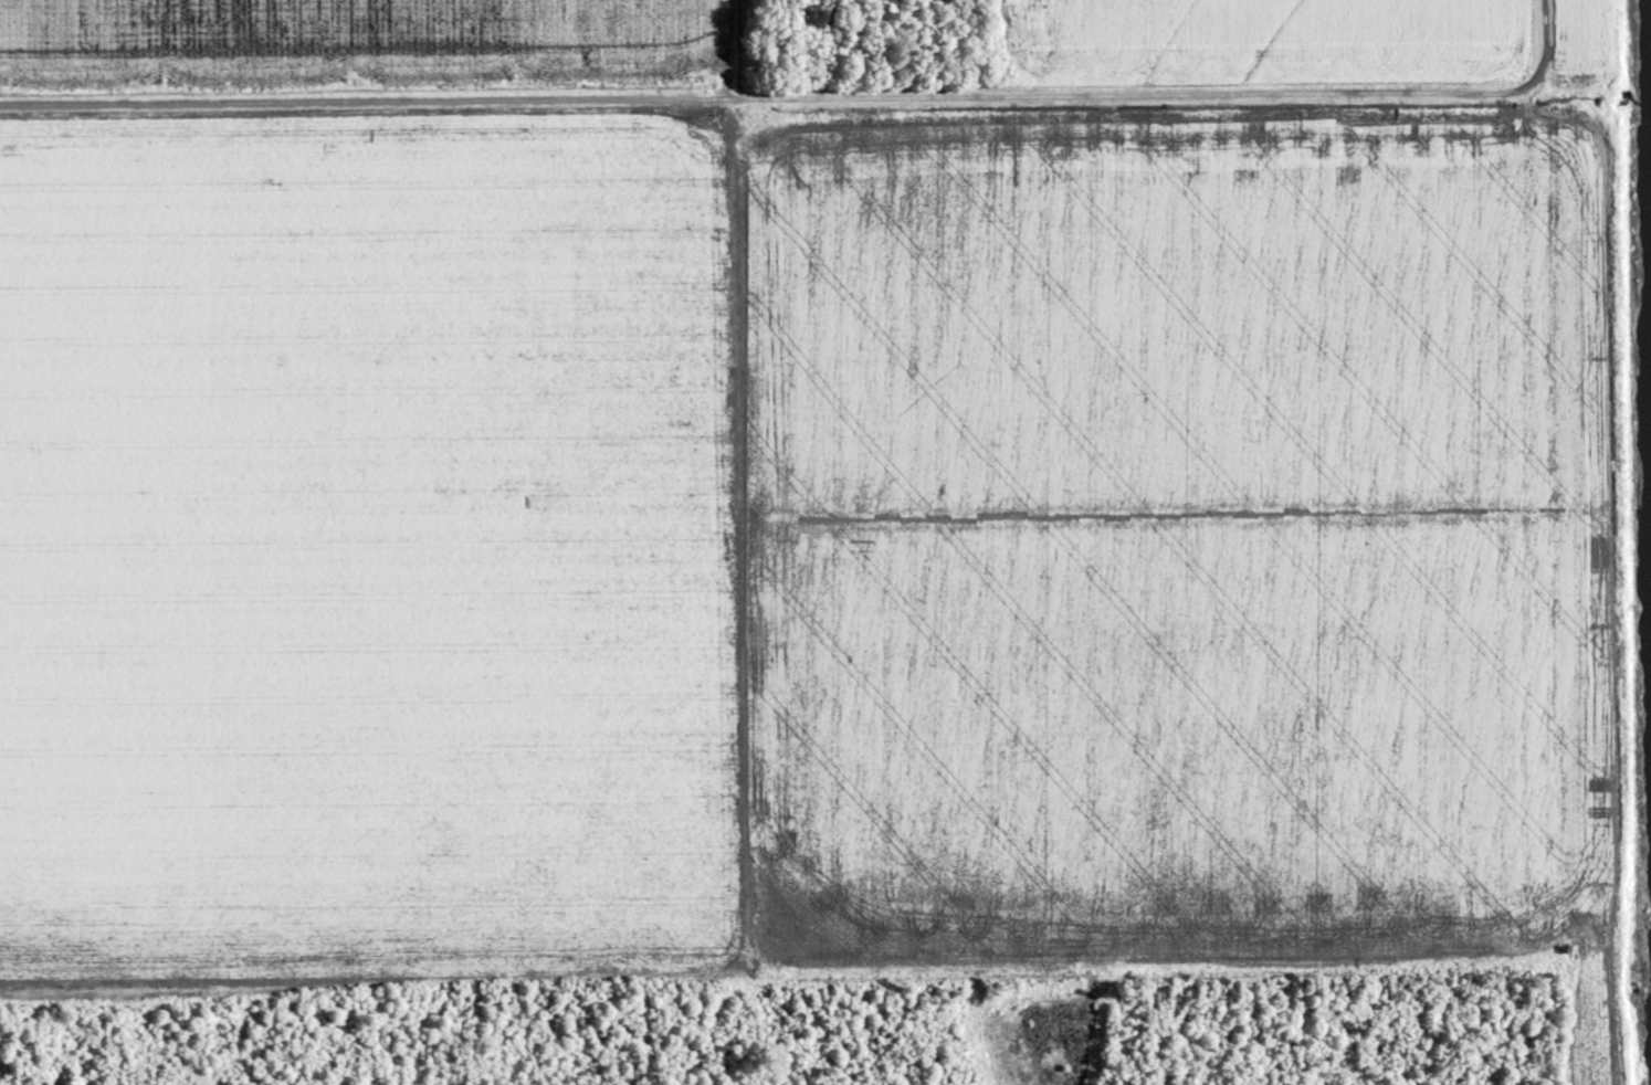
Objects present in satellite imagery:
road: (382, 70)
road: (809, 98)

